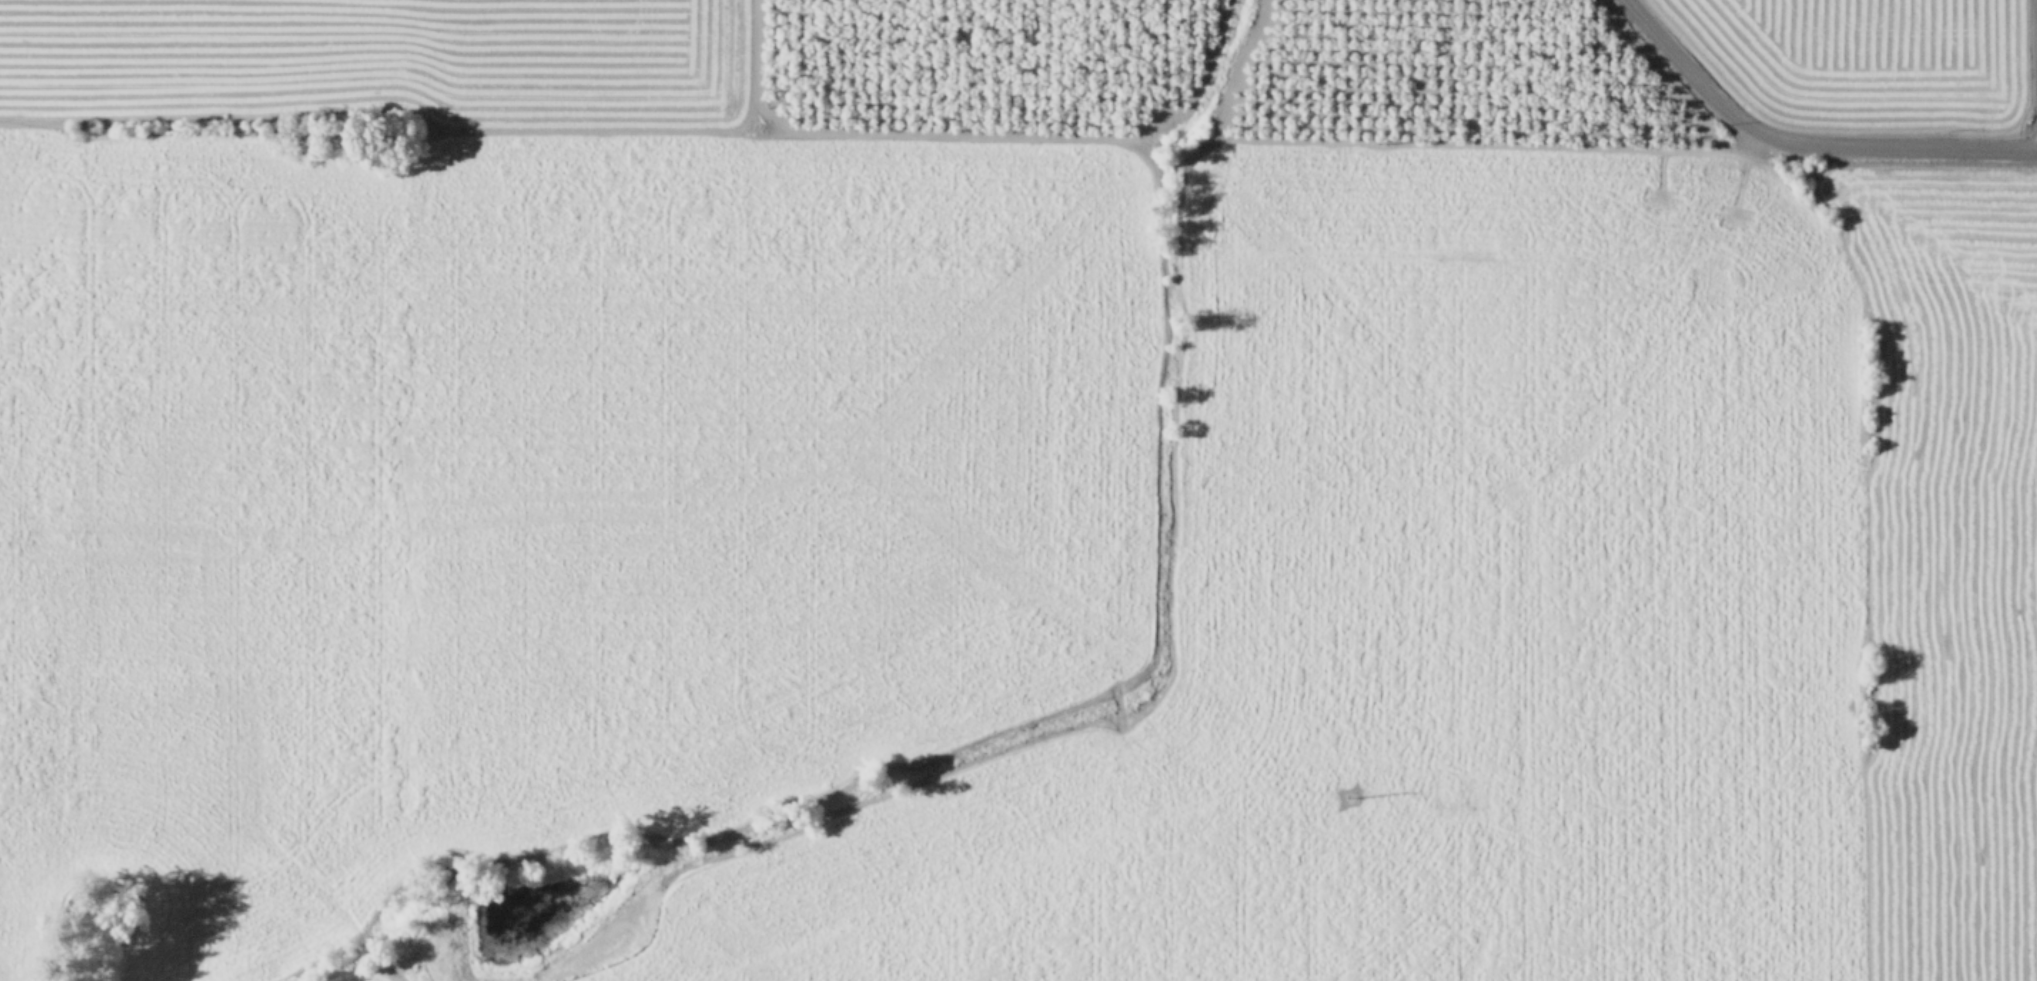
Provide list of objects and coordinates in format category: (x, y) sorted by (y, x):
crop: (1882, 55)
road: (2035, 74)
road: (1801, 144)
crop: (993, 503)

